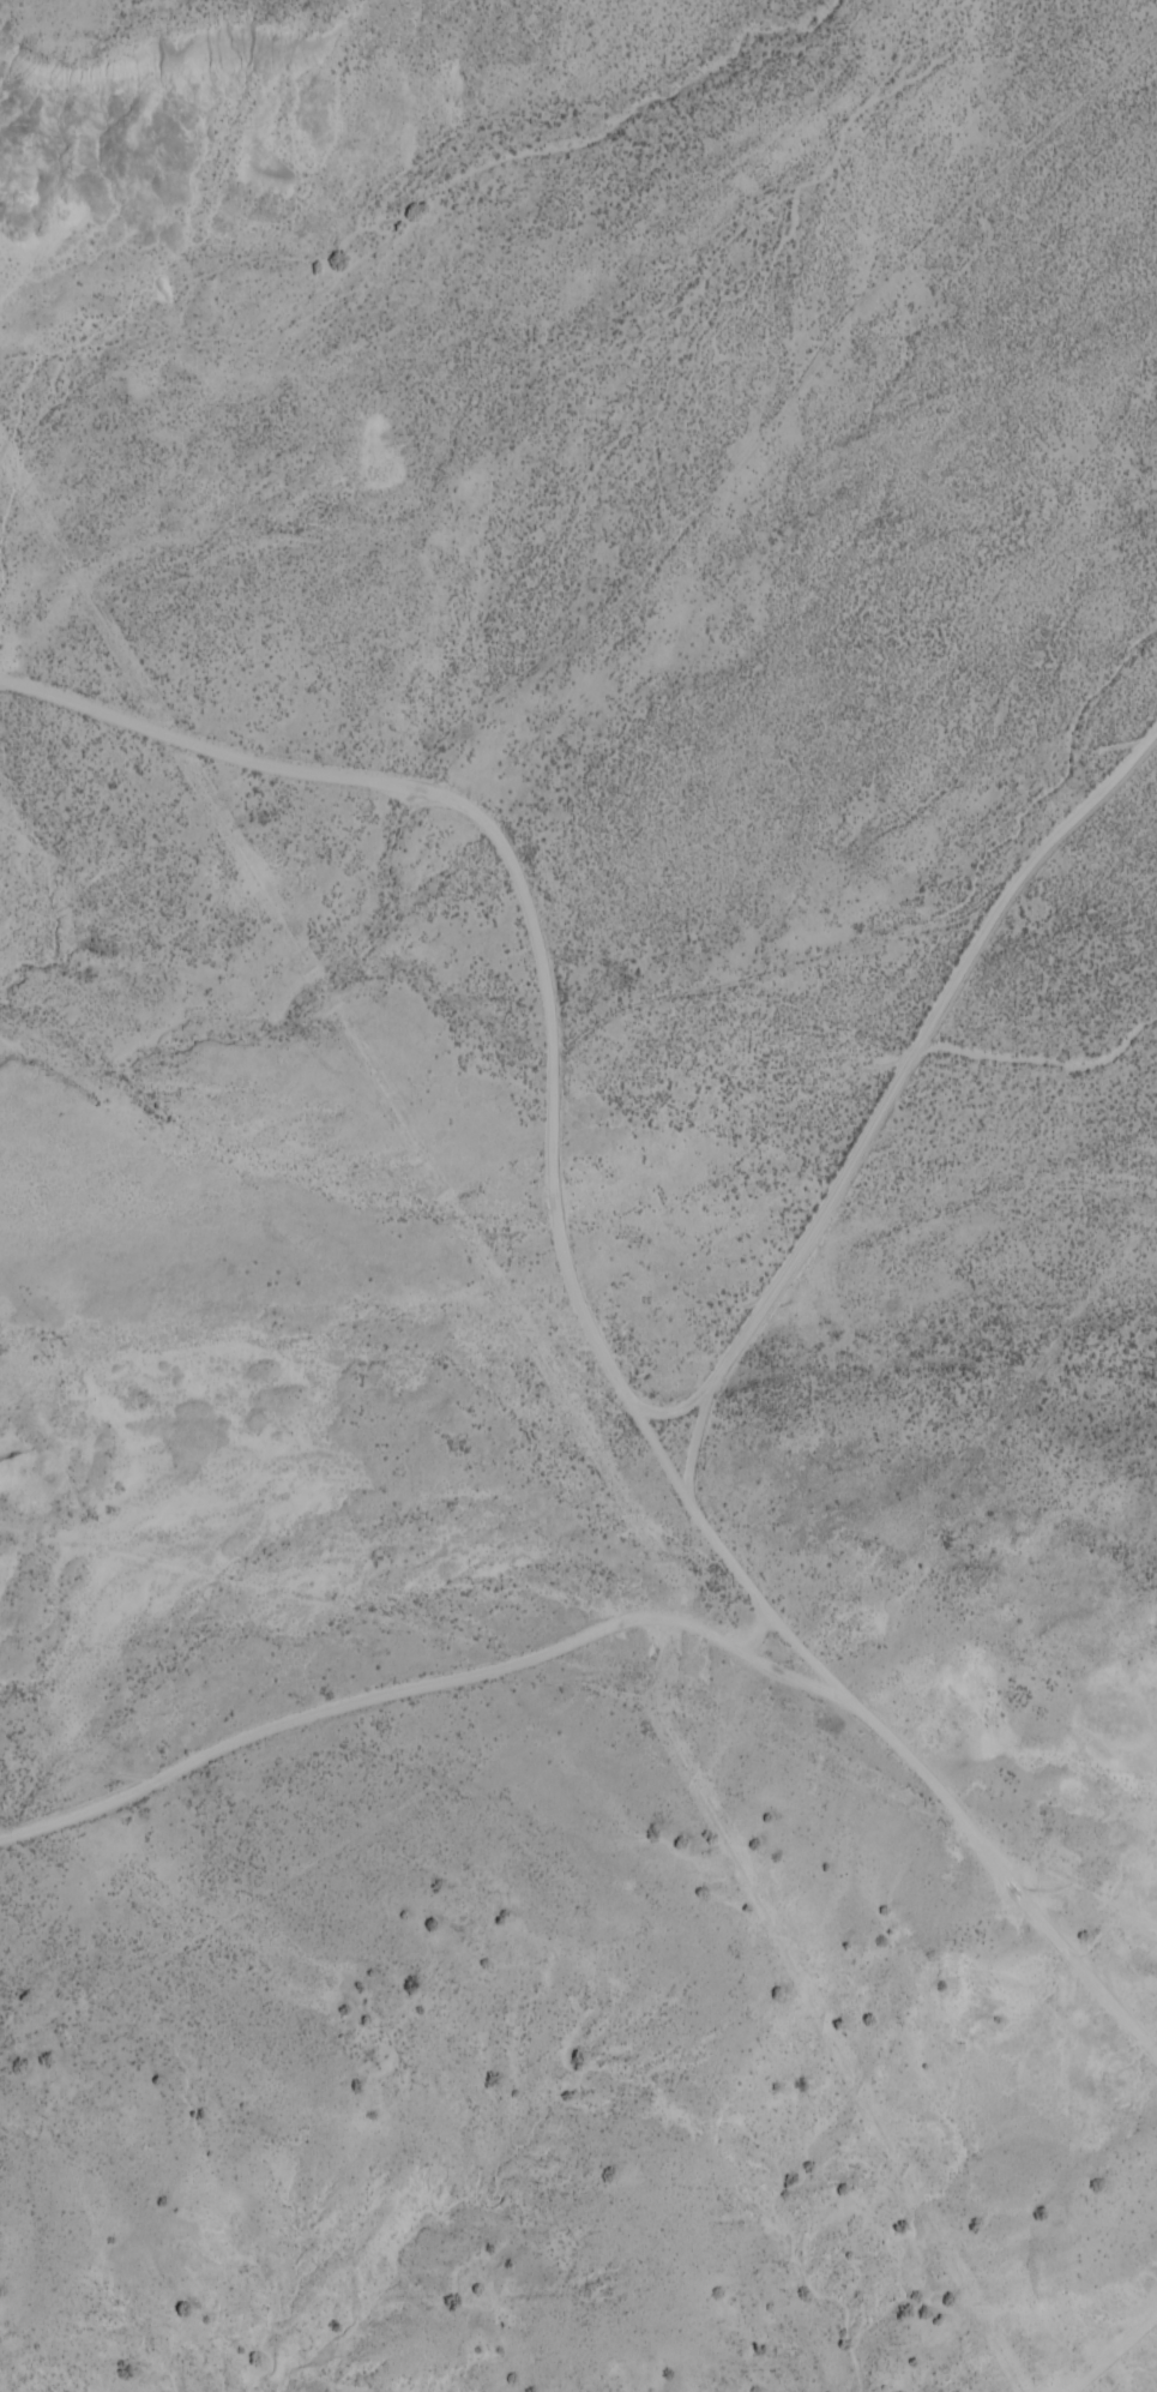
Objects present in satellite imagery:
road: (616, 1243)

